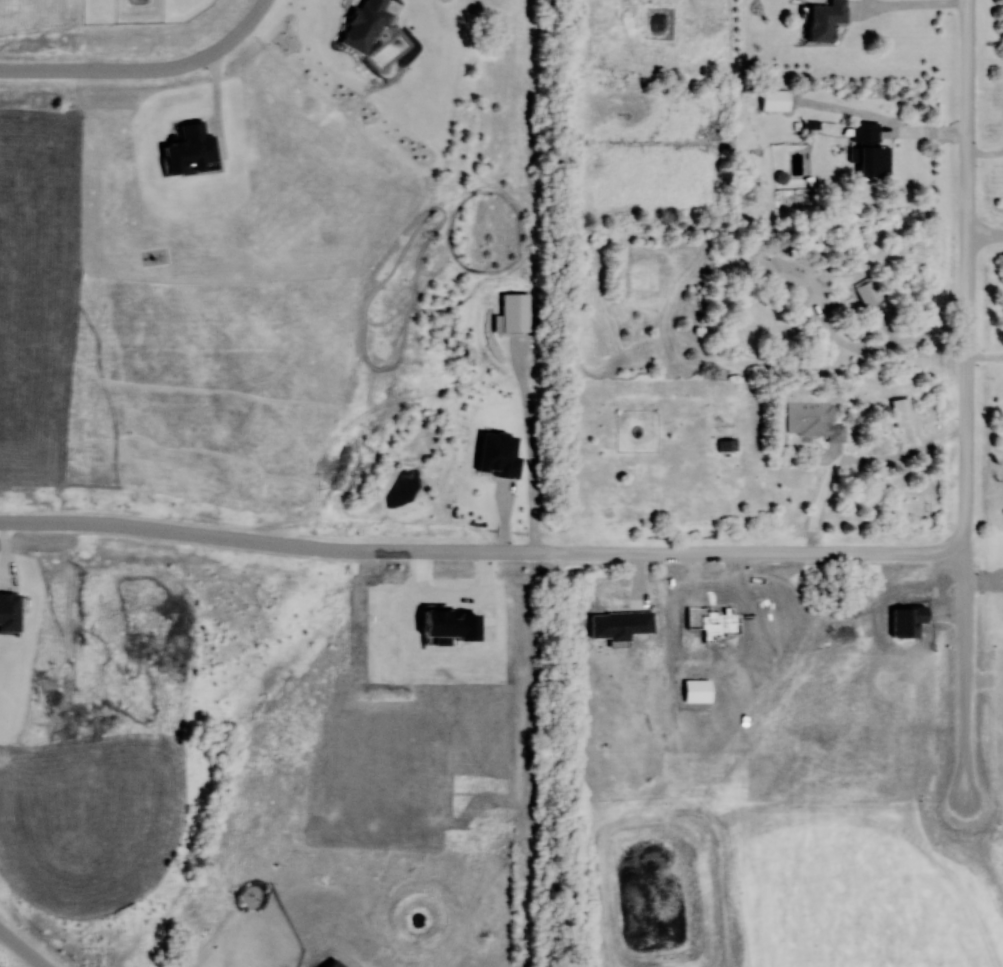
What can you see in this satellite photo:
road: (909, 7)
road: (256, 16)
building: (826, 19)
road: (127, 71)
building: (775, 100)
building: (870, 150)
road: (984, 236)
building: (784, 274)
building: (868, 293)
road: (882, 348)
road: (964, 405)
building: (814, 420)
road: (530, 445)
road: (855, 461)
road: (480, 551)
road: (22, 948)

